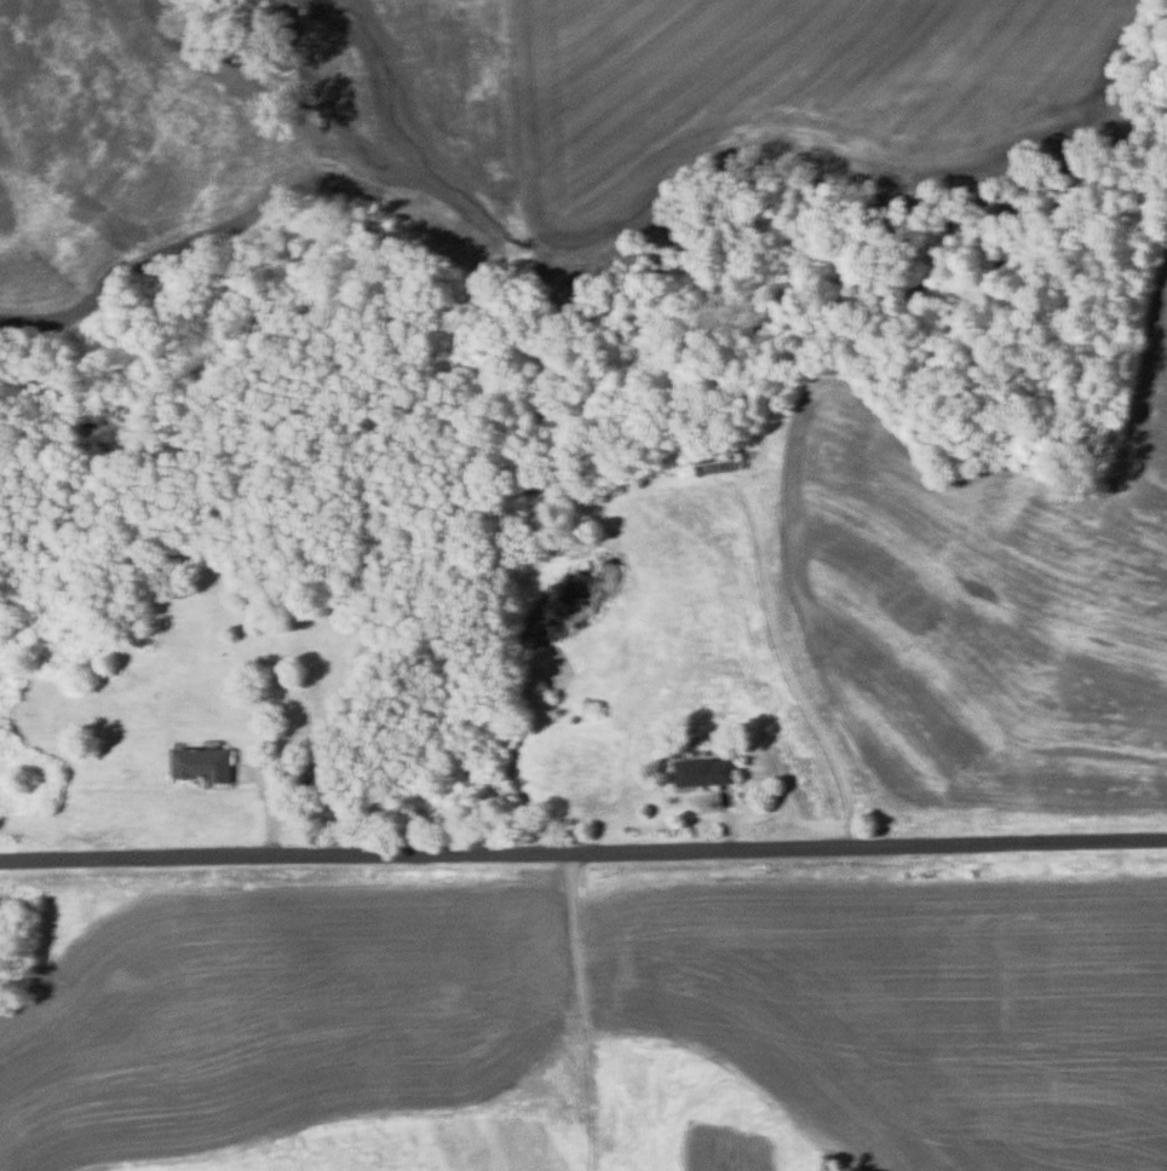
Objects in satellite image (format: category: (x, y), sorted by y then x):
building: (719, 461)
road: (793, 669)
building: (203, 765)
building: (709, 773)
road: (582, 848)

